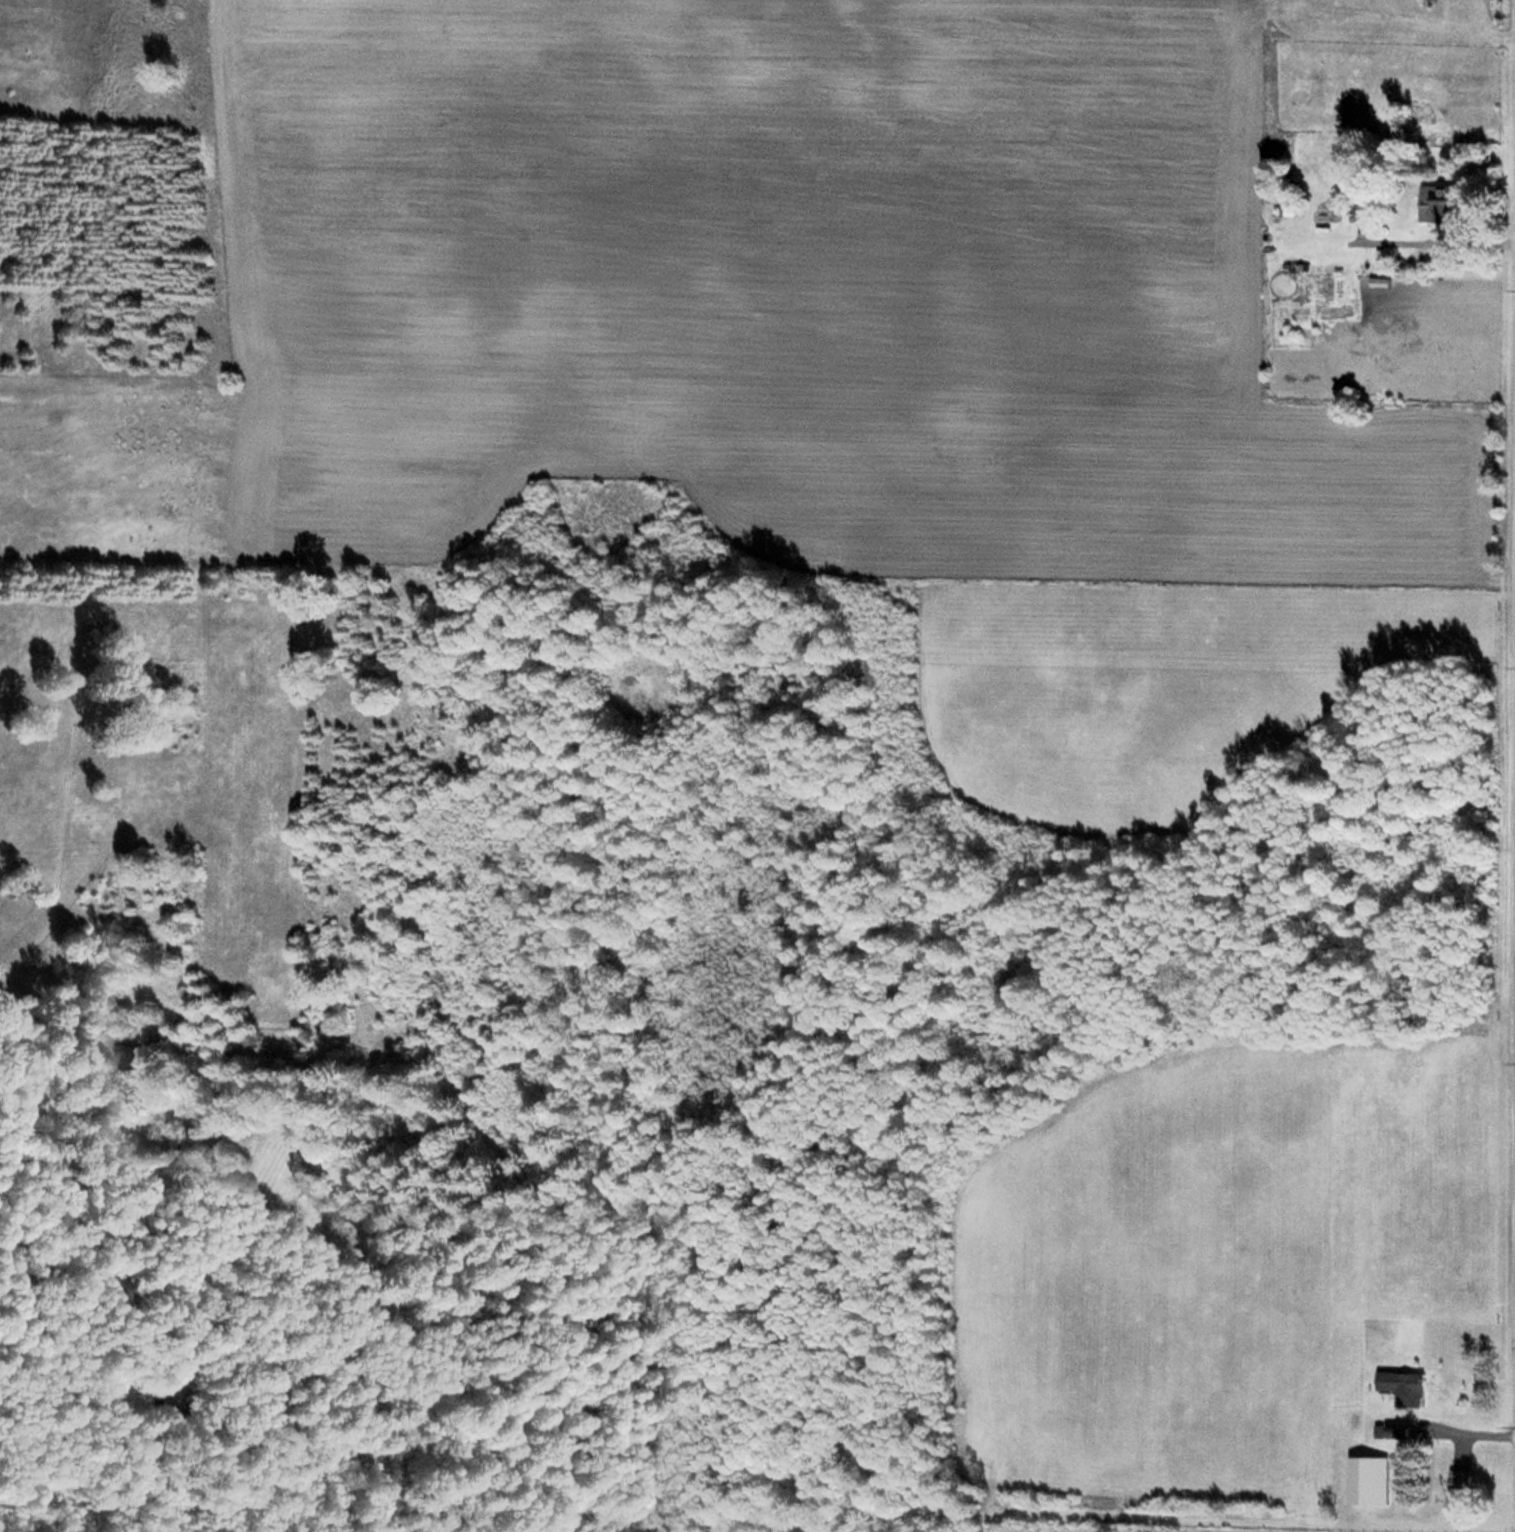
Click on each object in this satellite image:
building: (1286, 202)
building: (1431, 202)
road: (1509, 704)
building: (1401, 1388)
building: (1365, 1481)
building: (1455, 1483)

